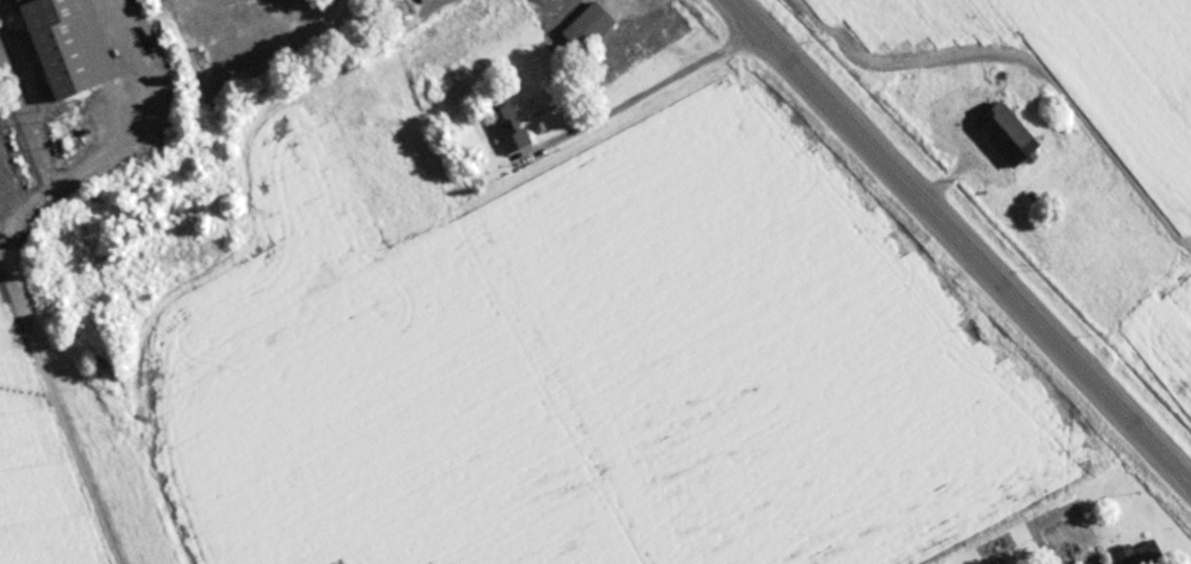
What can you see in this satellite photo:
building: (584, 27)
building: (60, 45)
road: (643, 90)
road: (246, 116)
building: (995, 124)
building: (505, 128)
road: (73, 160)
road: (959, 244)
road: (59, 421)
building: (1135, 553)
building: (1097, 563)

